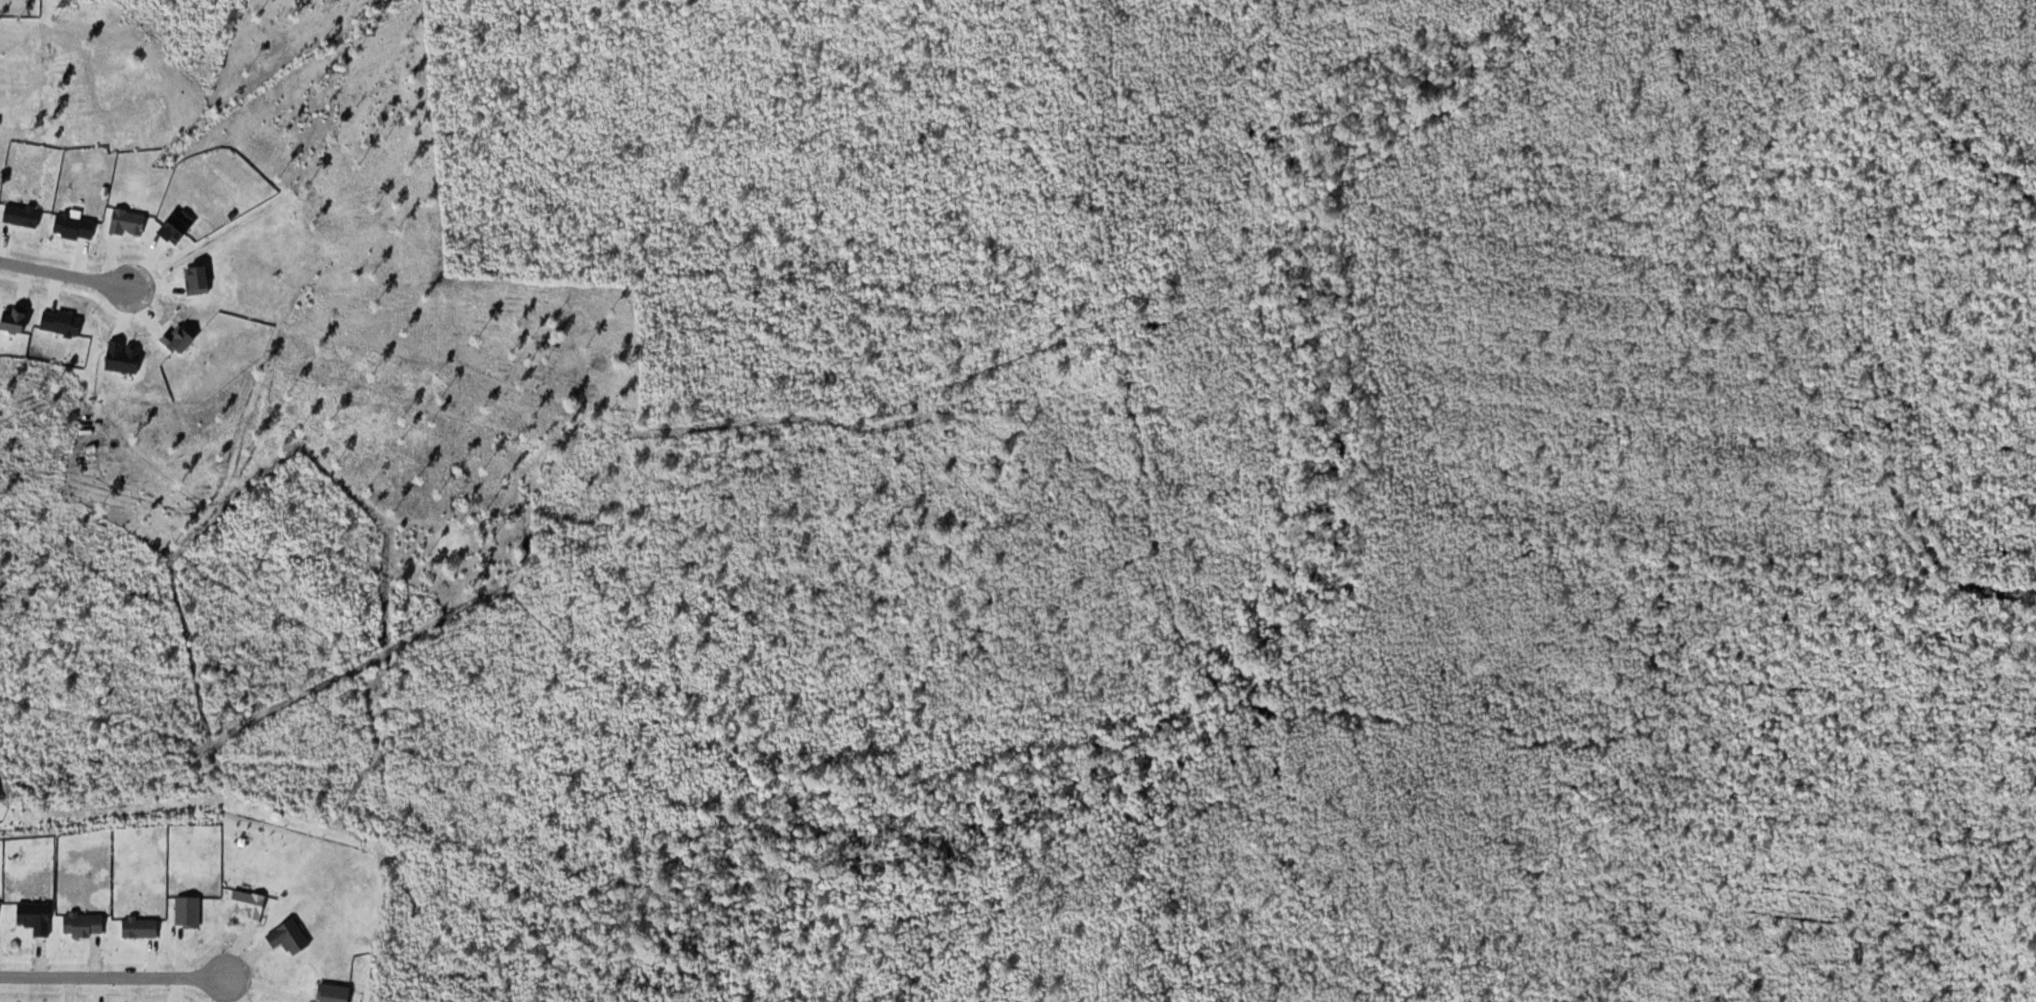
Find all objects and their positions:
road: (65, 273)
road: (113, 975)

